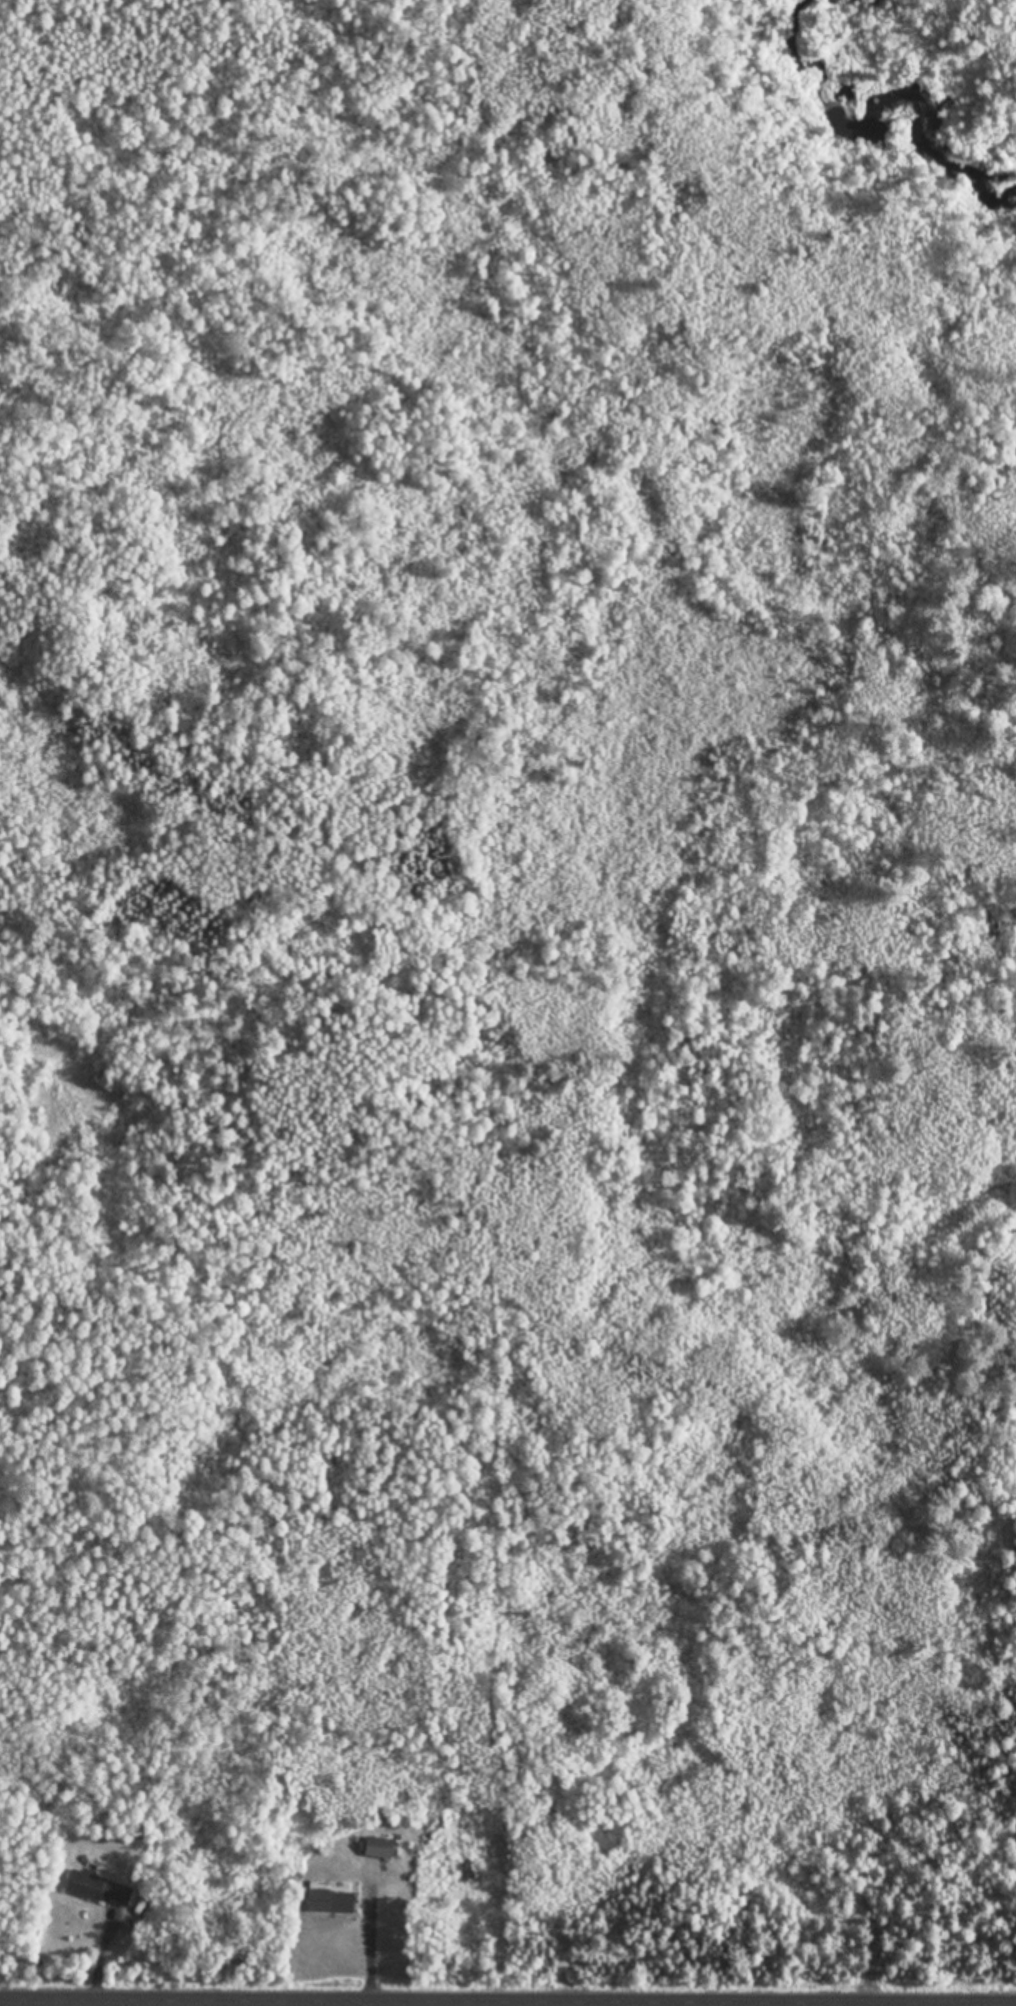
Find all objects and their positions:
building: (378, 1848)
building: (99, 1889)
building: (331, 1901)
road: (504, 2002)

